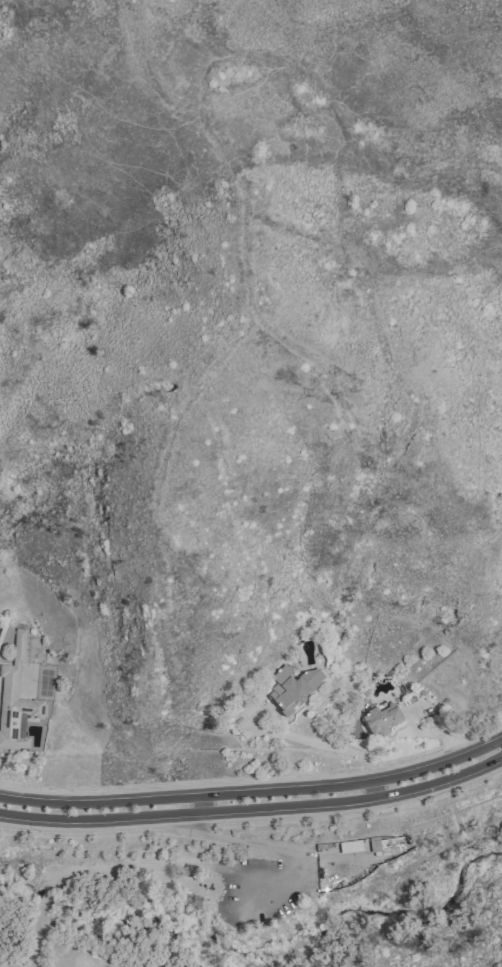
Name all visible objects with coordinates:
road: (364, 346)
building: (293, 688)
building: (16, 701)
building: (381, 720)
road: (499, 746)
road: (339, 747)
road: (499, 749)
road: (251, 800)
road: (188, 867)
road: (414, 933)

